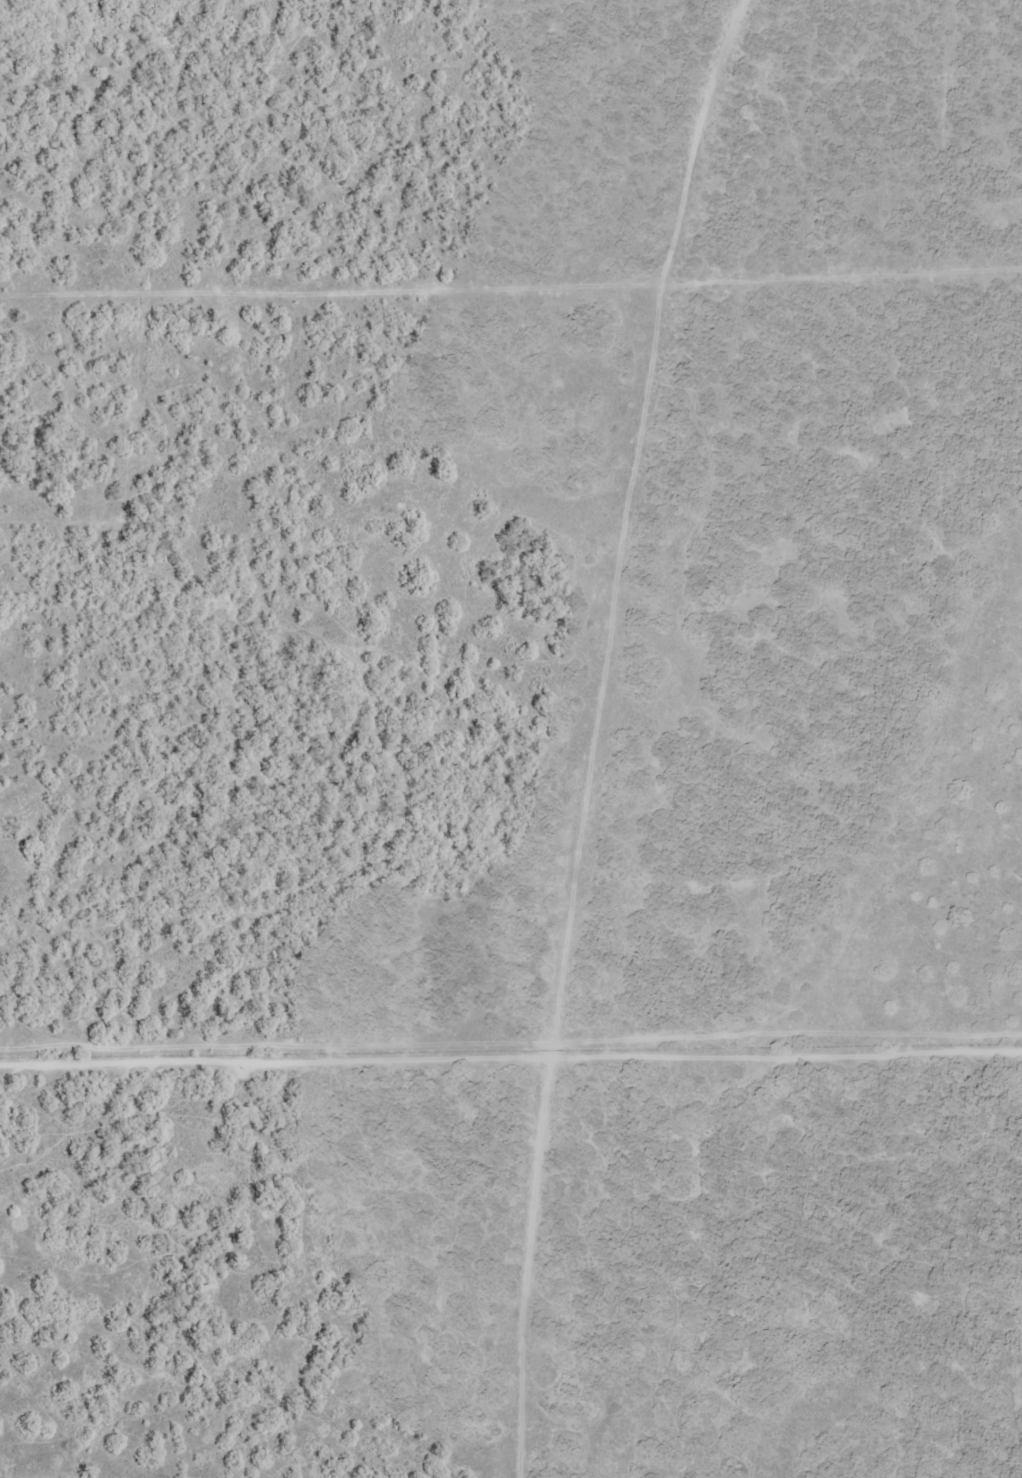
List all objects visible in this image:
road: (112, 1362)

